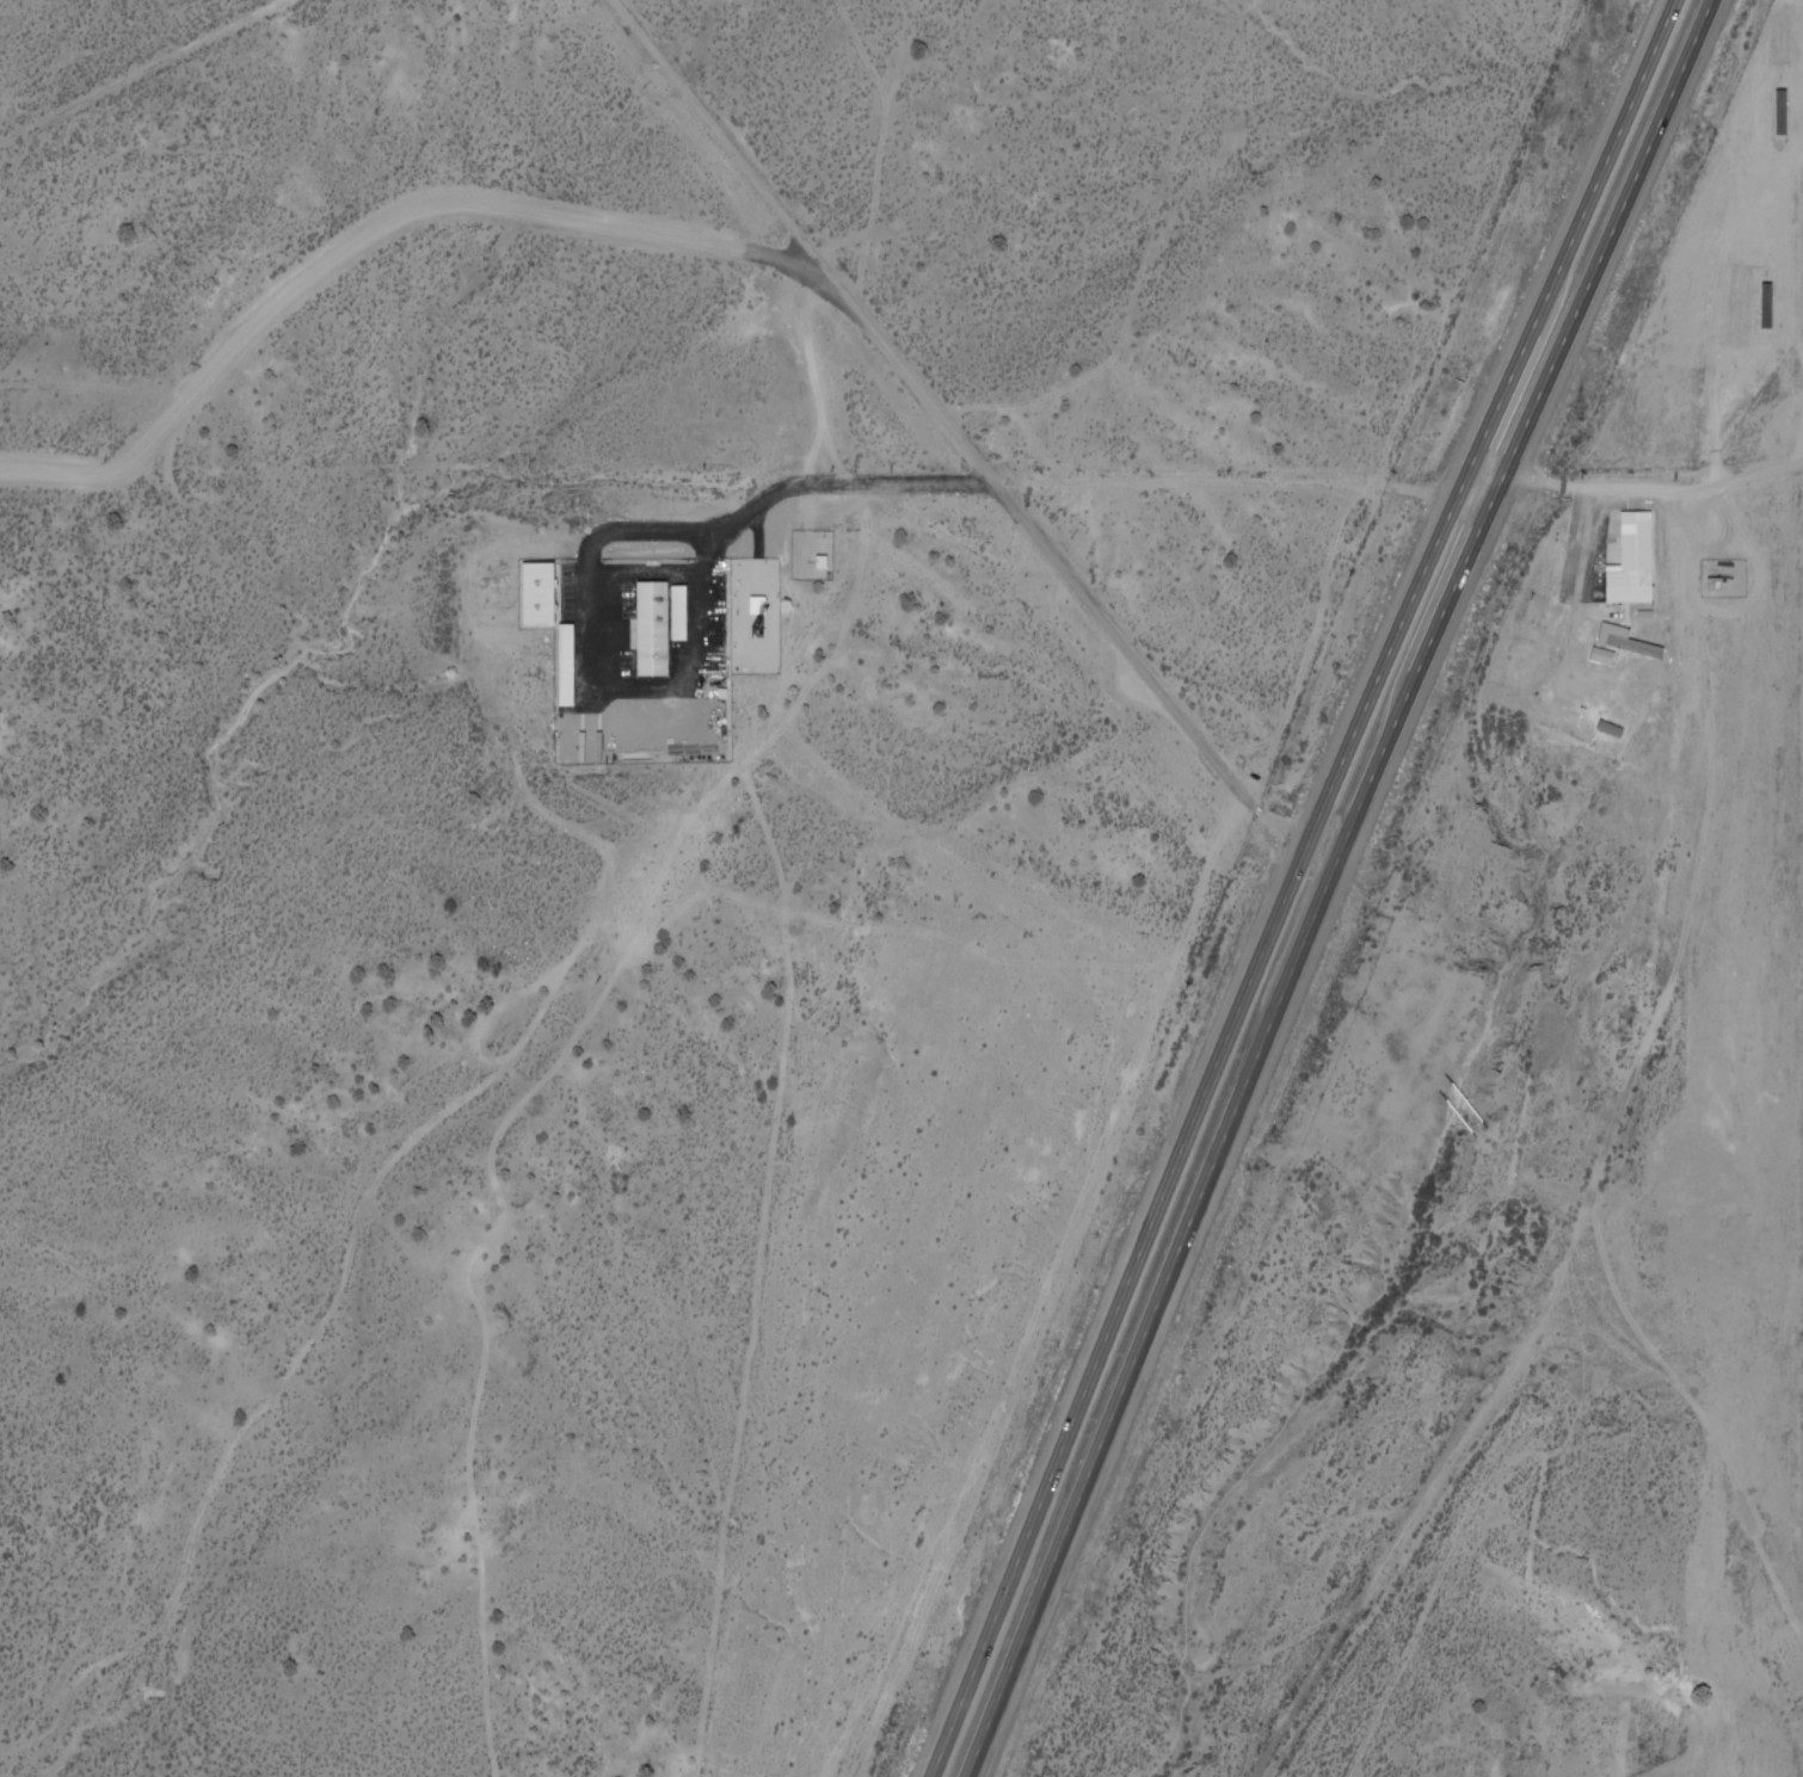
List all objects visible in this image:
road: (141, 72)
road: (1735, 240)
road: (375, 245)
road: (965, 448)
road: (1801, 461)
road: (1226, 487)
road: (1638, 487)
road: (768, 538)
building: (1643, 563)
building: (831, 564)
road: (599, 576)
building: (1724, 590)
road: (1768, 590)
road: (1589, 597)
building: (552, 598)
building: (767, 607)
road: (1730, 611)
building: (689, 616)
building: (1654, 621)
building: (661, 633)
building: (1636, 644)
building: (1613, 660)
building: (576, 668)
road: (1570, 701)
building: (1593, 711)
building: (1624, 734)
road: (1349, 754)
road: (1334, 886)
road: (1702, 909)
road: (1779, 1397)
road: (1704, 1403)
road: (1415, 1543)
road: (983, 1646)

